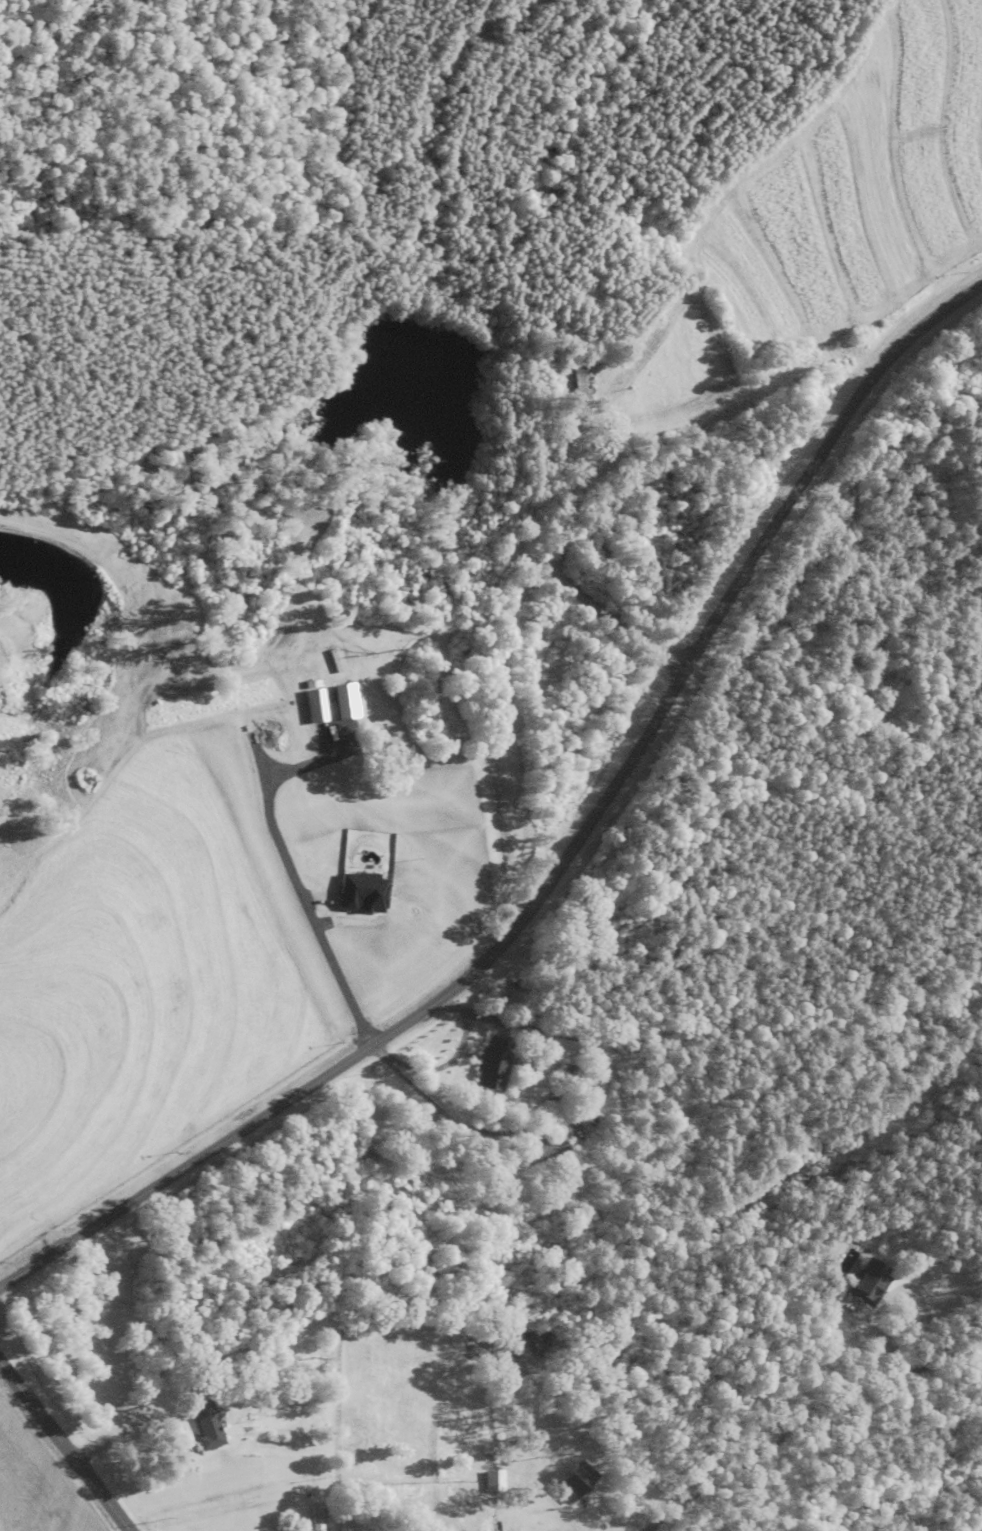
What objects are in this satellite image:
building: (584, 380)
road: (568, 859)
building: (496, 1064)
building: (572, 1074)
building: (547, 1153)
building: (370, 1160)
building: (865, 1283)
building: (398, 1414)
road: (806, 1415)
building: (208, 1426)
road: (65, 1447)
building: (577, 1483)
road: (681, 1503)
building: (318, 1518)

